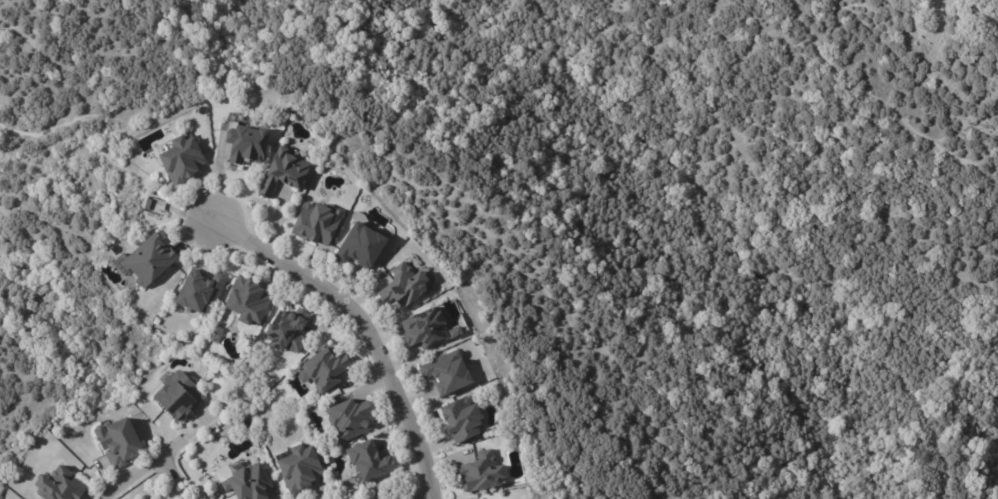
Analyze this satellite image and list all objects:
building: (246, 145)
building: (180, 158)
building: (282, 173)
building: (155, 203)
building: (314, 223)
building: (358, 246)
building: (148, 260)
building: (403, 287)
building: (199, 292)
building: (246, 302)
road: (355, 328)
building: (287, 330)
building: (422, 330)
building: (452, 332)
building: (214, 335)
building: (323, 369)
building: (447, 373)
building: (174, 394)
building: (347, 419)
building: (456, 420)
building: (116, 441)
building: (367, 460)
building: (297, 467)
road: (135, 469)
building: (480, 472)
building: (246, 481)
building: (56, 485)
building: (210, 495)
building: (199, 498)

